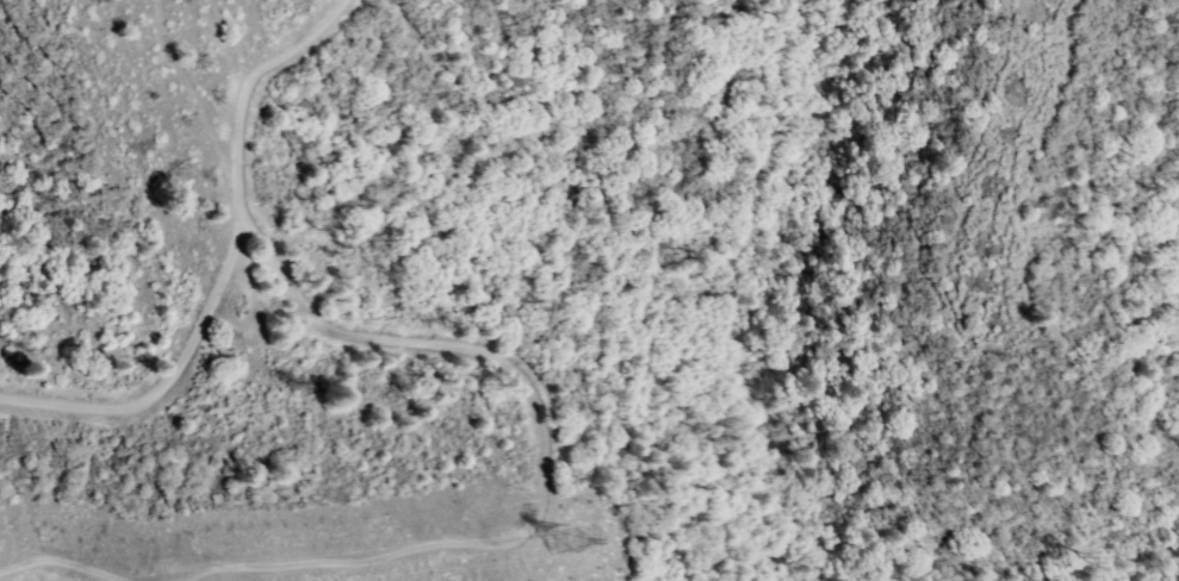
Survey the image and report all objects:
road: (217, 257)
road: (339, 319)
power tower: (551, 541)
road: (184, 568)

